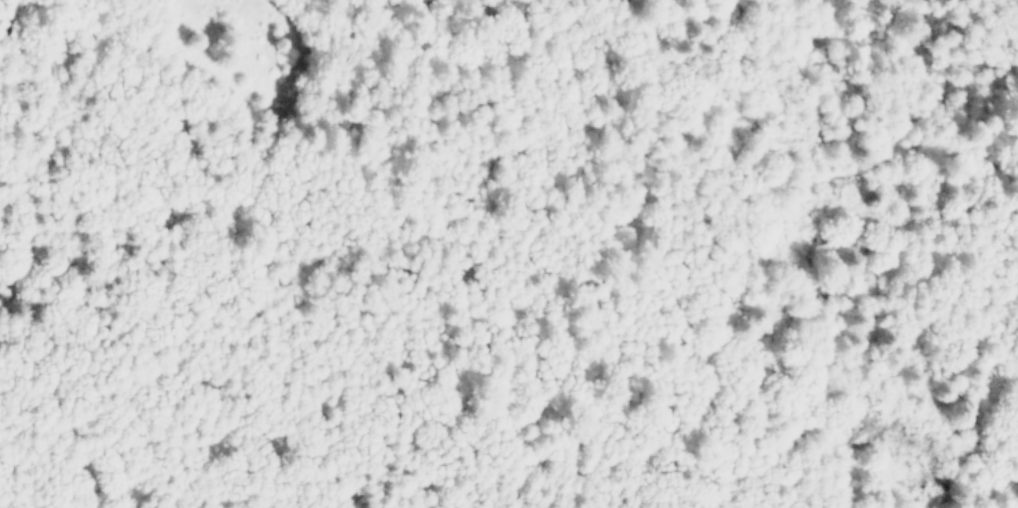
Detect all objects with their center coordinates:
road: (916, 134)

